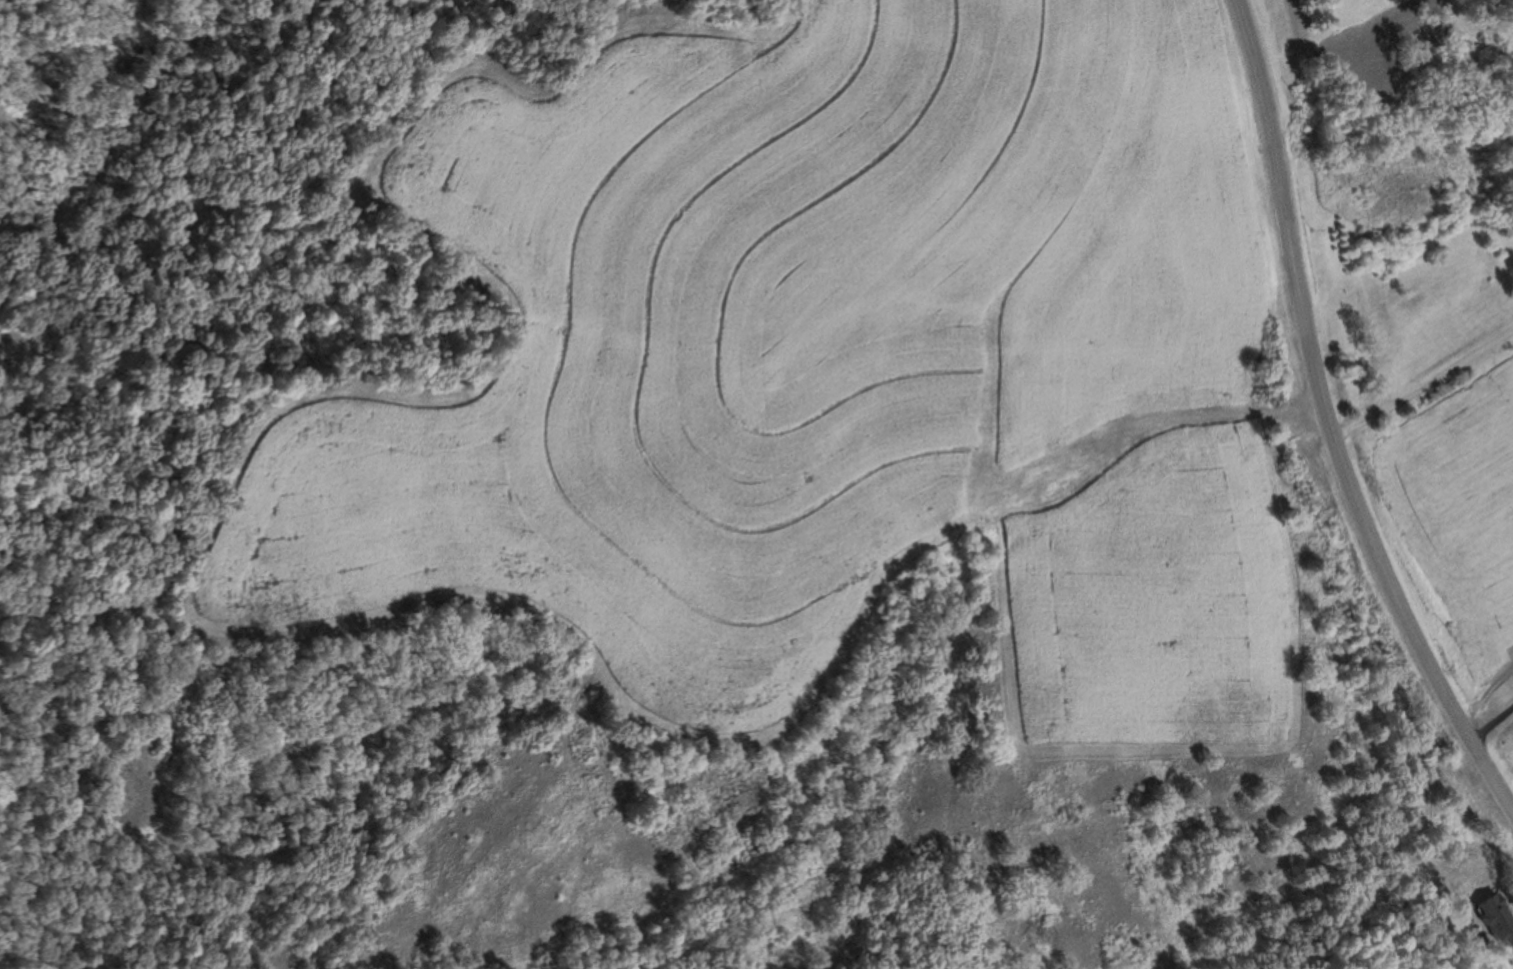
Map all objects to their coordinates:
road: (1422, 382)
road: (1326, 423)
road: (1490, 724)
building: (1493, 921)

